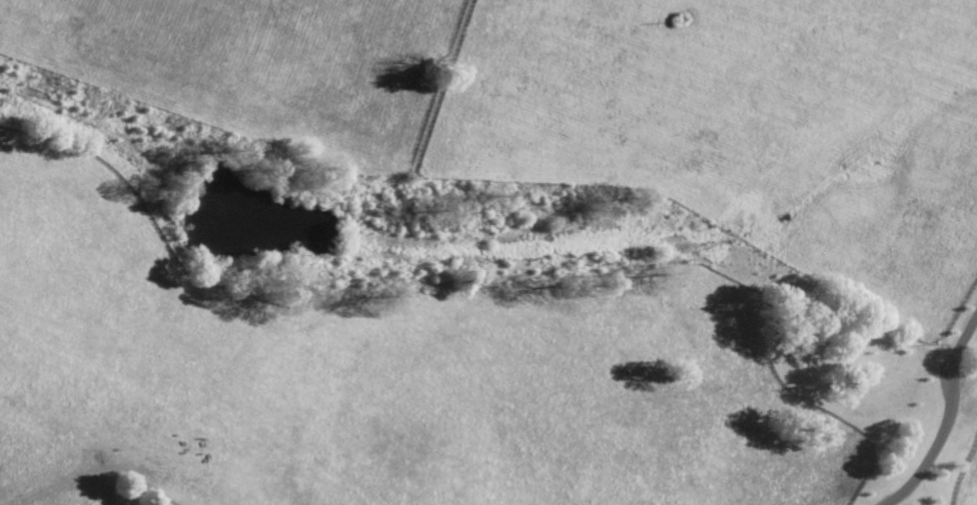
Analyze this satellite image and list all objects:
road: (949, 418)

